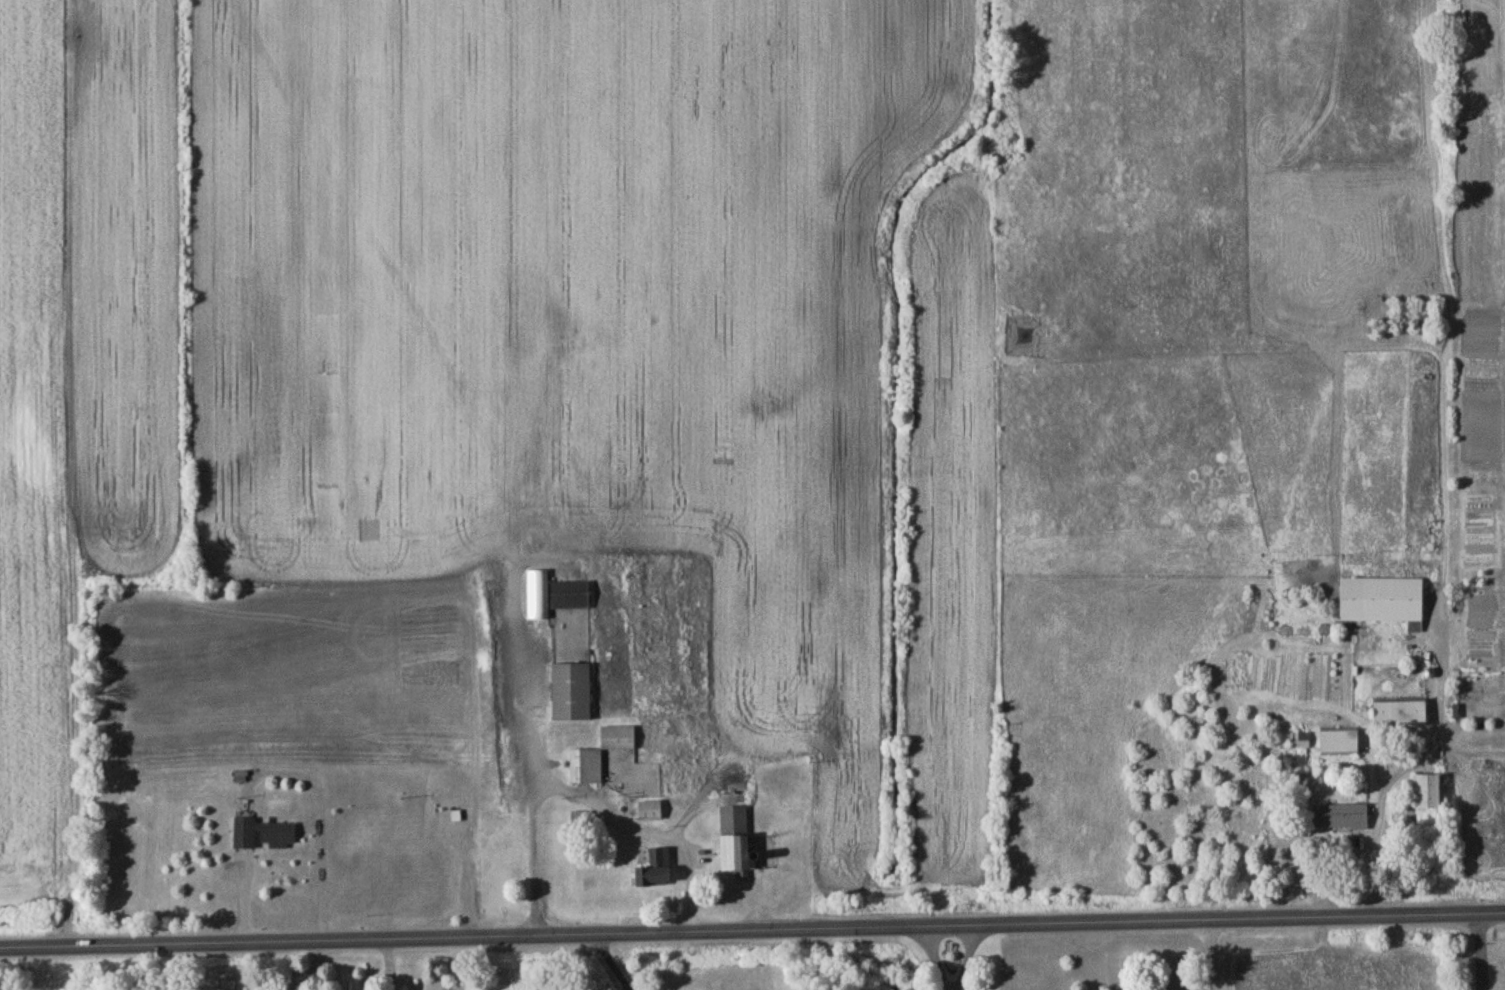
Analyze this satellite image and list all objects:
building: (571, 597)
building: (1384, 602)
building: (573, 695)
building: (1403, 716)
building: (1341, 744)
building: (601, 757)
building: (1430, 795)
road: (589, 804)
building: (651, 813)
building: (1342, 820)
building: (264, 837)
building: (737, 844)
road: (537, 857)
building: (659, 872)
road: (752, 930)
road: (1481, 952)
road: (1213, 955)
road: (933, 958)
road: (968, 958)
road: (608, 962)
road: (319, 965)

